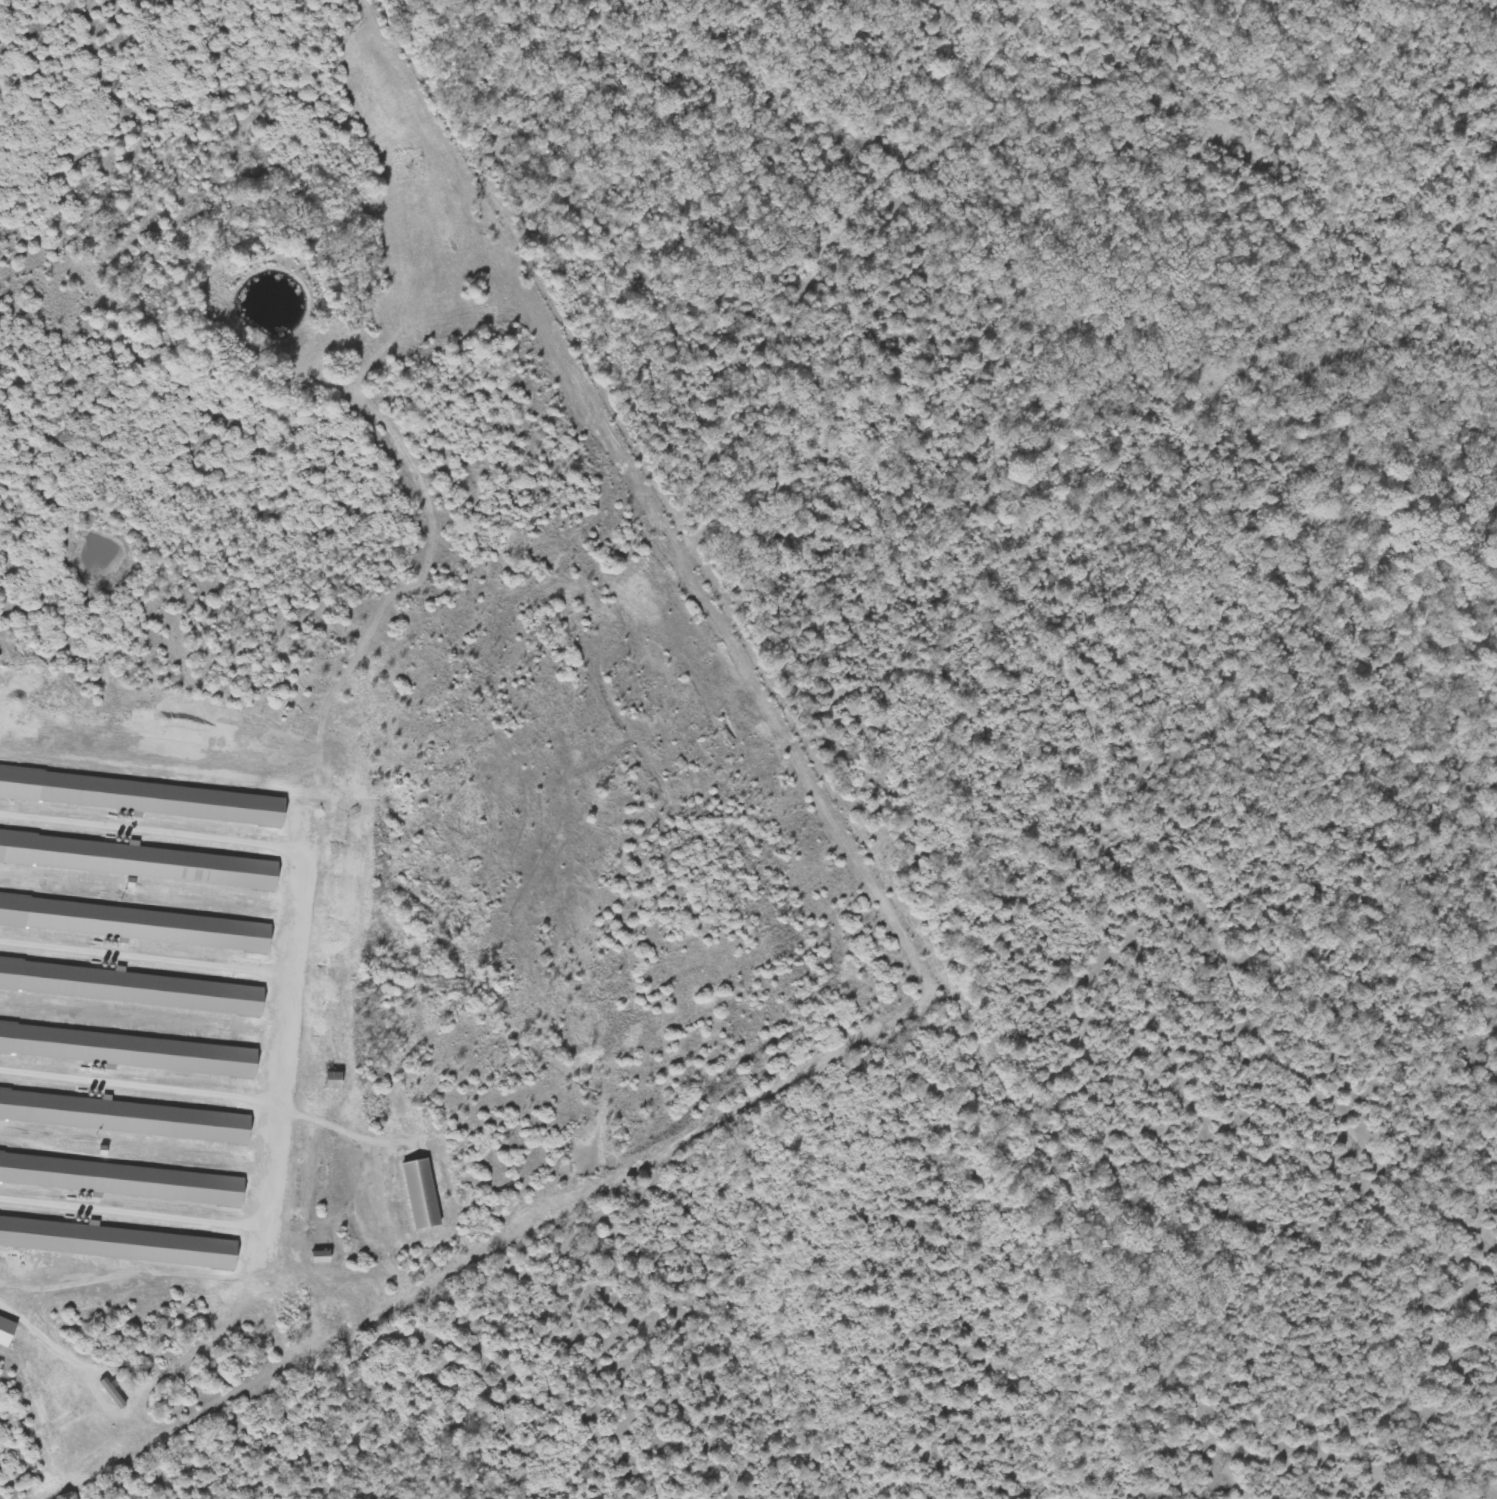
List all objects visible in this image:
building: (145, 798)
building: (135, 861)
building: (137, 924)
building: (129, 988)
building: (131, 1051)
building: (339, 1081)
building: (123, 1117)
building: (124, 1180)
building: (426, 1195)
building: (117, 1243)
building: (325, 1258)
building: (9, 1332)
building: (116, 1394)

